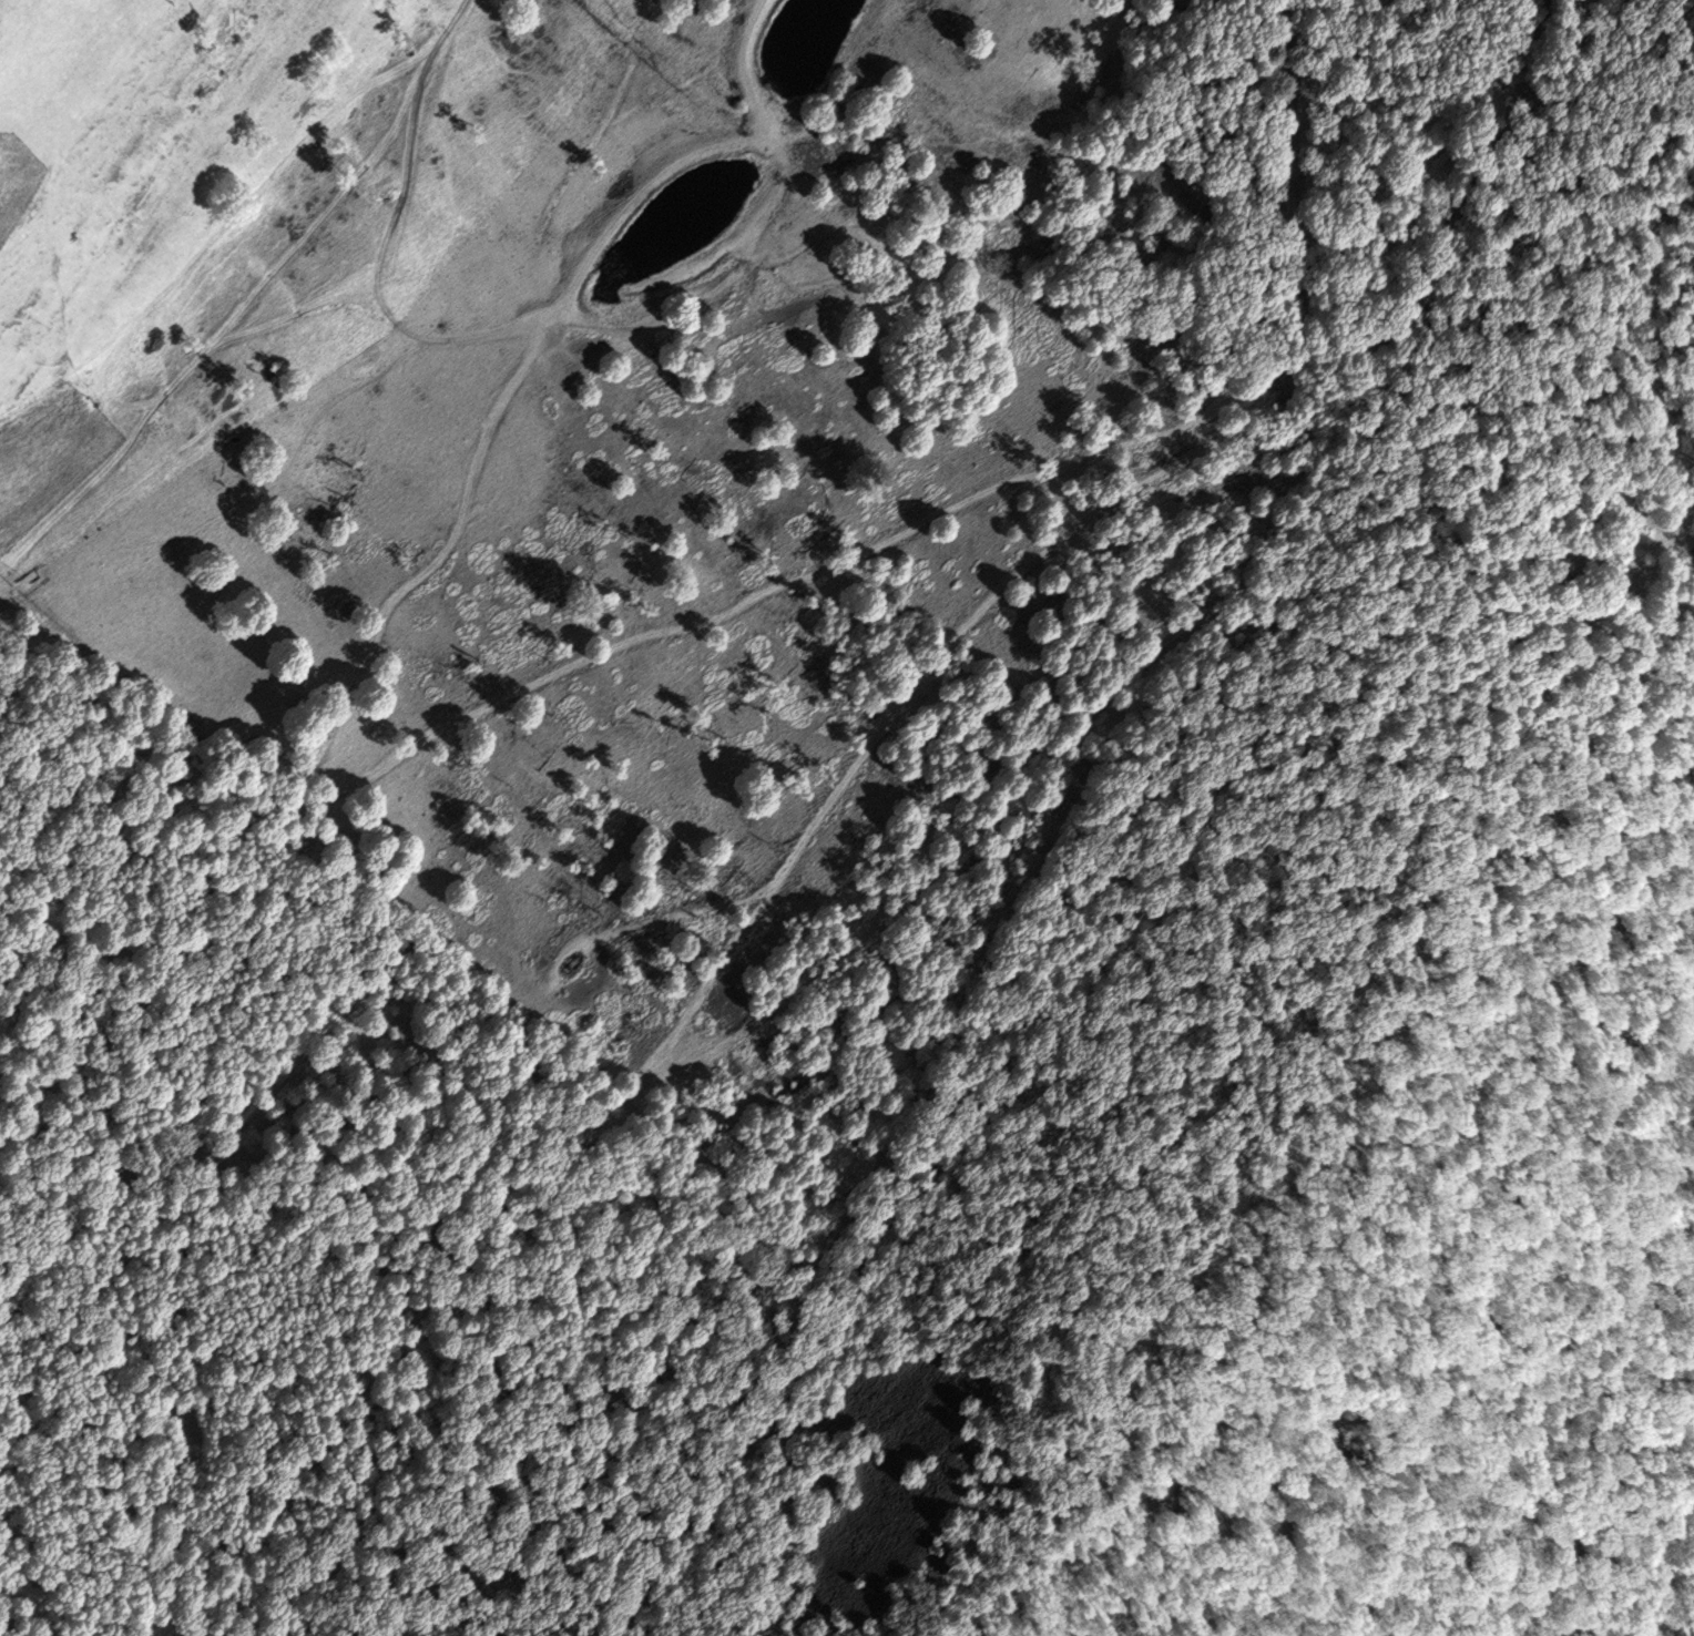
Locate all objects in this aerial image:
road: (380, 283)
road: (256, 292)
road: (1111, 450)
road: (892, 1056)

